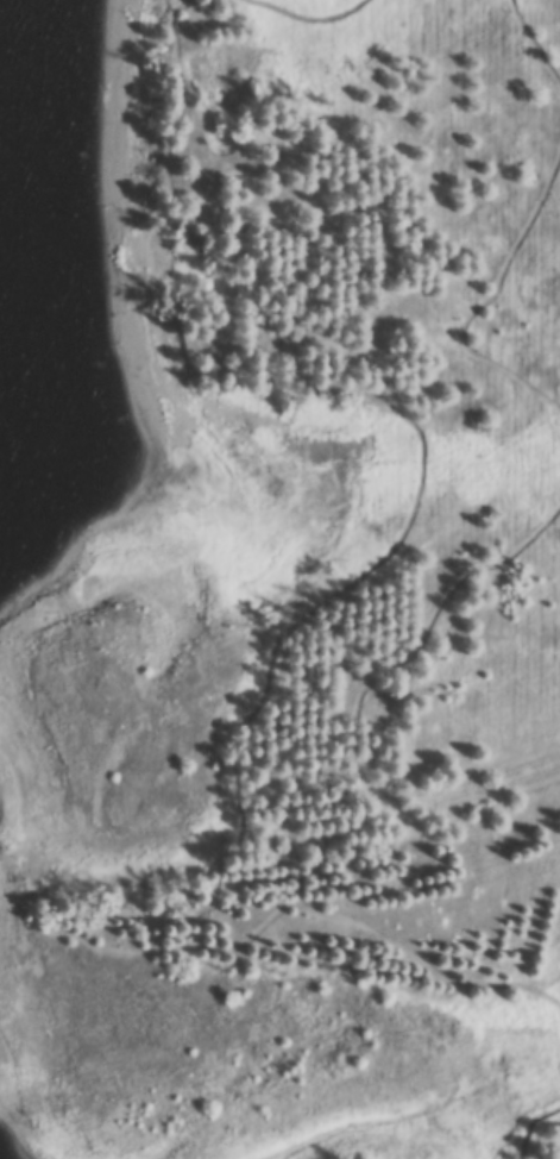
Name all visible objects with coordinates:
road: (308, 19)
road: (528, 48)
road: (477, 307)
road: (355, 582)
park: (331, 607)
road: (372, 685)
road: (422, 973)
road: (535, 1130)
road: (534, 1148)
park: (357, 1152)

